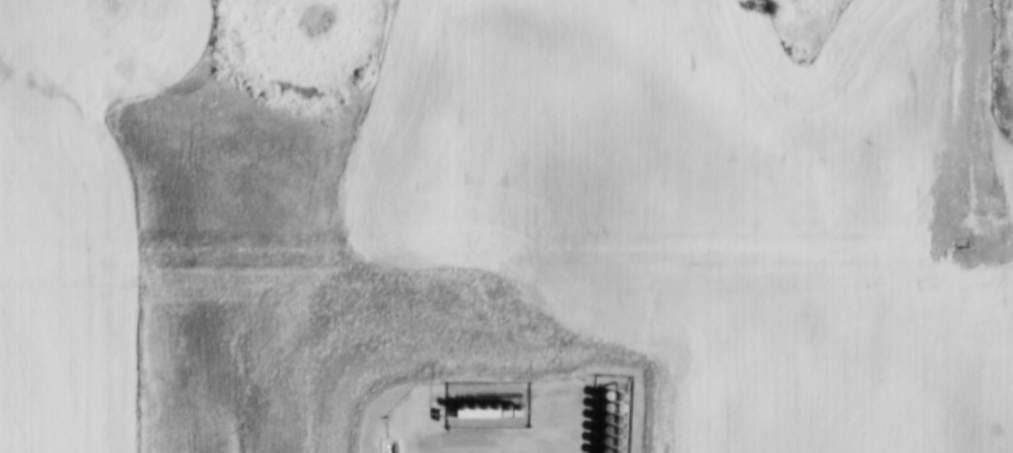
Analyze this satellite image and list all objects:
building: (598, 398)
storage tank: (598, 398)
building: (611, 399)
storage tank: (611, 399)
building: (509, 410)
storage tank: (509, 410)
building: (598, 410)
storage tank: (598, 410)
building: (463, 411)
storage tank: (463, 411)
building: (475, 411)
storage tank: (475, 411)
building: (487, 411)
storage tank: (487, 411)
building: (498, 411)
storage tank: (498, 411)
building: (611, 411)
storage tank: (611, 411)
building: (452, 413)
storage tank: (452, 413)
building: (597, 421)
storage tank: (597, 421)
building: (610, 422)
storage tank: (610, 422)
building: (597, 433)
storage tank: (597, 433)
building: (609, 434)
storage tank: (609, 434)
building: (596, 444)
storage tank: (596, 444)
building: (609, 445)
storage tank: (609, 445)
building: (596, 452)
storage tank: (596, 452)

